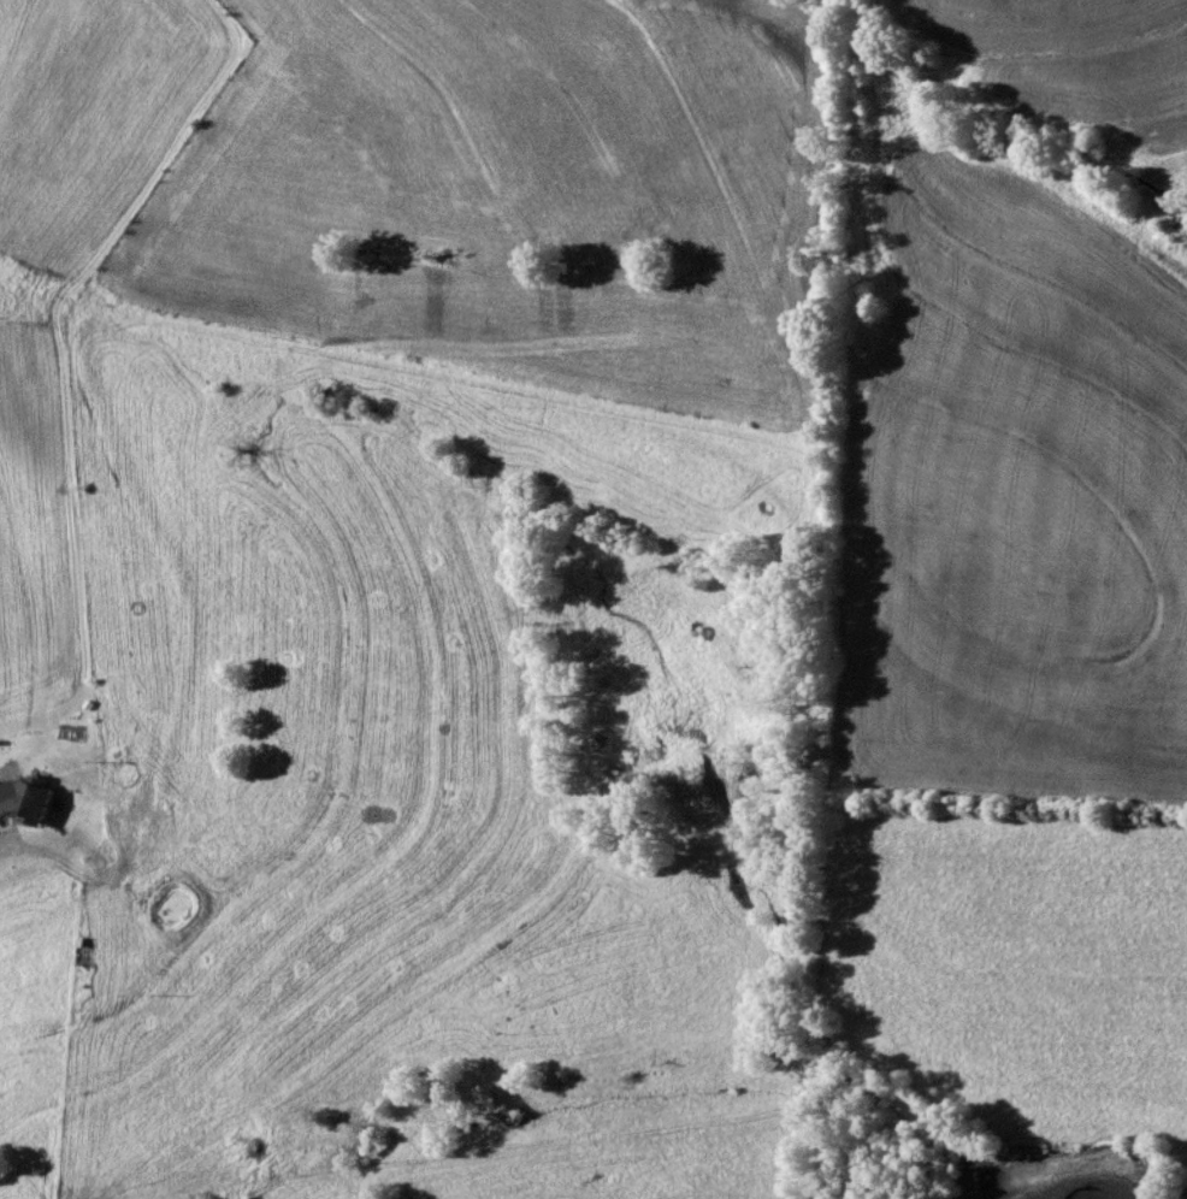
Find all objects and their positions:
road: (2, 838)

